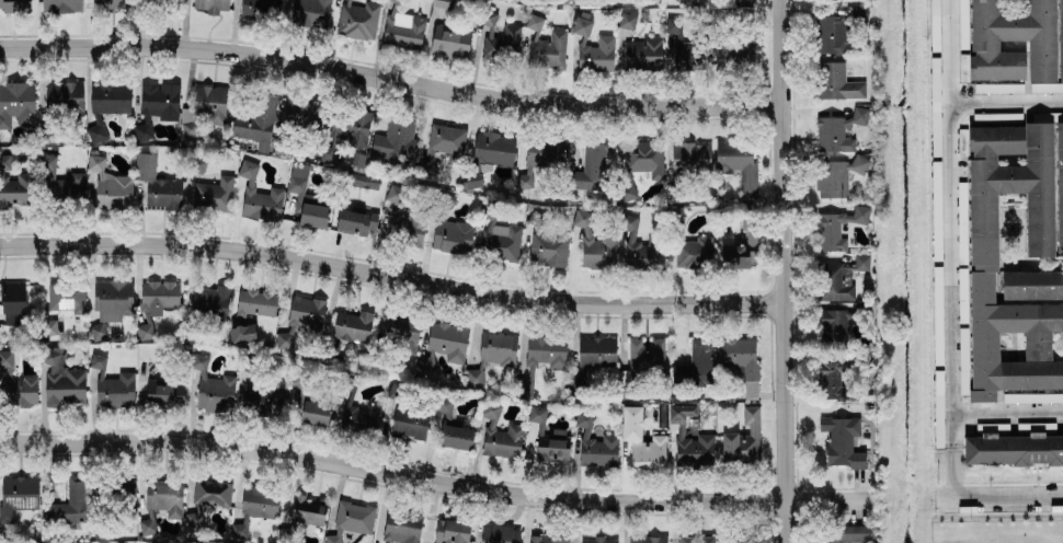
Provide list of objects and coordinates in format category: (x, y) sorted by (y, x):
building: (742, 1)
building: (108, 3)
building: (14, 5)
building: (60, 5)
building: (160, 5)
building: (210, 5)
building: (260, 9)
building: (309, 12)
building: (356, 20)
building: (625, 20)
building: (934, 24)
building: (581, 26)
building: (403, 31)
building: (510, 32)
building: (830, 34)
building: (449, 41)
building: (545, 45)
building: (980, 45)
building: (743, 49)
building: (641, 54)
building: (595, 55)
road: (391, 80)
building: (834, 81)
building: (70, 97)
building: (108, 97)
road: (1005, 97)
building: (16, 103)
building: (208, 104)
building: (155, 106)
building: (301, 115)
building: (1006, 116)
building: (255, 123)
building: (350, 127)
building: (836, 131)
building: (94, 132)
building: (393, 139)
building: (279, 145)
building: (442, 145)
building: (325, 153)
building: (689, 155)
building: (643, 157)
building: (538, 159)
building: (4, 162)
building: (94, 162)
building: (736, 162)
building: (195, 165)
building: (590, 169)
building: (836, 176)
building: (362, 181)
building: (59, 183)
building: (157, 184)
building: (113, 190)
building: (213, 195)
building: (258, 195)
building: (305, 198)
building: (936, 210)
road: (947, 221)
building: (355, 222)
building: (405, 224)
building: (836, 227)
building: (450, 235)
building: (500, 239)
building: (545, 242)
building: (594, 243)
building: (638, 247)
building: (732, 249)
building: (693, 253)
building: (860, 262)
road: (785, 271)
road: (391, 277)
building: (835, 281)
building: (1032, 285)
building: (158, 293)
building: (65, 296)
building: (12, 298)
building: (110, 299)
building: (209, 302)
building: (255, 302)
building: (306, 312)
building: (936, 316)
building: (352, 325)
building: (833, 326)
building: (401, 330)
building: (96, 331)
building: (241, 333)
building: (1011, 343)
building: (444, 344)
building: (595, 351)
building: (644, 354)
building: (491, 355)
building: (539, 359)
building: (739, 361)
building: (962, 361)
building: (695, 365)
building: (60, 379)
building: (14, 384)
building: (111, 385)
building: (212, 388)
building: (163, 394)
building: (261, 397)
building: (1032, 397)
building: (443, 406)
building: (937, 409)
building: (315, 413)
road: (1006, 414)
building: (359, 417)
building: (409, 425)
building: (499, 436)
building: (455, 437)
building: (689, 437)
building: (547, 438)
building: (742, 440)
building: (641, 441)
building: (839, 441)
building: (594, 442)
building: (1013, 450)
road: (949, 473)
road: (433, 482)
building: (123, 490)
building: (16, 495)
building: (163, 496)
building: (206, 500)
building: (70, 501)
building: (259, 501)
road: (997, 501)
road: (979, 516)
building: (301, 517)
building: (351, 520)
building: (146, 523)
building: (401, 527)
building: (450, 531)
building: (844, 533)
building: (545, 539)
building: (695, 539)
building: (597, 540)
building: (645, 540)

